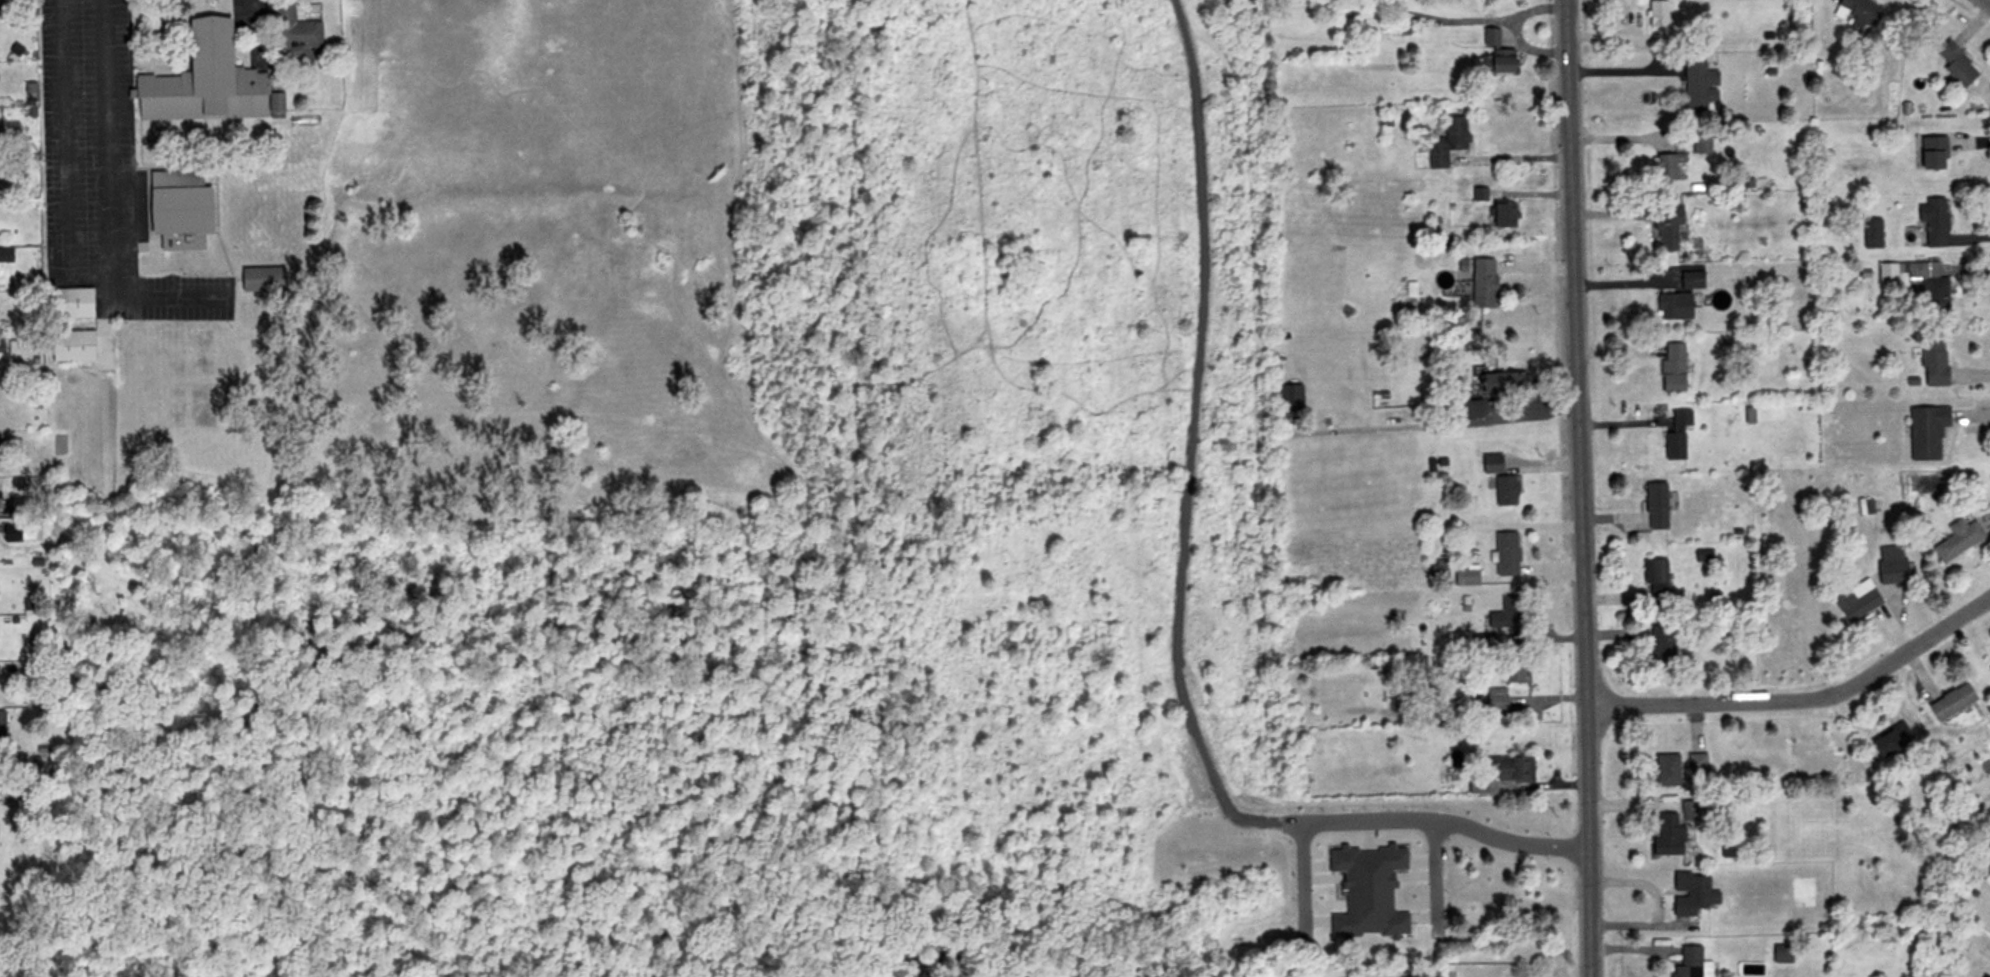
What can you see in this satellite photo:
road: (1989, 0)
building: (1657, 14)
building: (1860, 14)
road: (251, 24)
building: (1398, 29)
parking lot: (252, 30)
building: (292, 34)
building: (15, 49)
building: (1495, 55)
building: (1956, 64)
building: (203, 80)
building: (29, 86)
building: (1696, 87)
building: (29, 101)
building: (275, 104)
building: (31, 111)
road: (106, 140)
building: (1446, 141)
building: (1932, 153)
road: (1514, 160)
building: (1669, 166)
parking lot: (101, 171)
building: (175, 177)
building: (1478, 193)
building: (1503, 214)
building: (180, 216)
building: (1933, 221)
building: (1666, 225)
road: (63, 226)
building: (1871, 234)
building: (5, 253)
road: (1201, 272)
building: (263, 278)
building: (1690, 280)
building: (1917, 280)
building: (1483, 285)
building: (71, 302)
building: (1673, 306)
building: (72, 345)
building: (1932, 360)
building: (1672, 368)
building: (1501, 382)
building: (1289, 399)
building: (1466, 409)
building: (1925, 431)
building: (1676, 435)
building: (1491, 464)
road: (1579, 488)
building: (1505, 491)
building: (1654, 506)
building: (11, 532)
building: (1957, 539)
building: (1506, 554)
building: (35, 561)
building: (1891, 564)
building: (1438, 568)
building: (1466, 577)
building: (1655, 582)
building: (1856, 601)
building: (1505, 615)
building: (1661, 647)
building: (1989, 667)
building: (1513, 670)
road: (1802, 699)
building: (1495, 700)
building: (1951, 702)
road: (1187, 712)
building: (2, 729)
building: (1890, 739)
building: (39, 747)
building: (34, 758)
building: (1696, 762)
building: (1514, 769)
building: (1666, 770)
building: (1478, 785)
building: (1687, 809)
road: (1438, 821)
building: (1667, 837)
building: (1986, 882)
building: (1694, 888)
building: (1367, 891)
building: (1490, 893)
road: (1654, 905)
building: (1781, 953)
building: (1695, 960)

